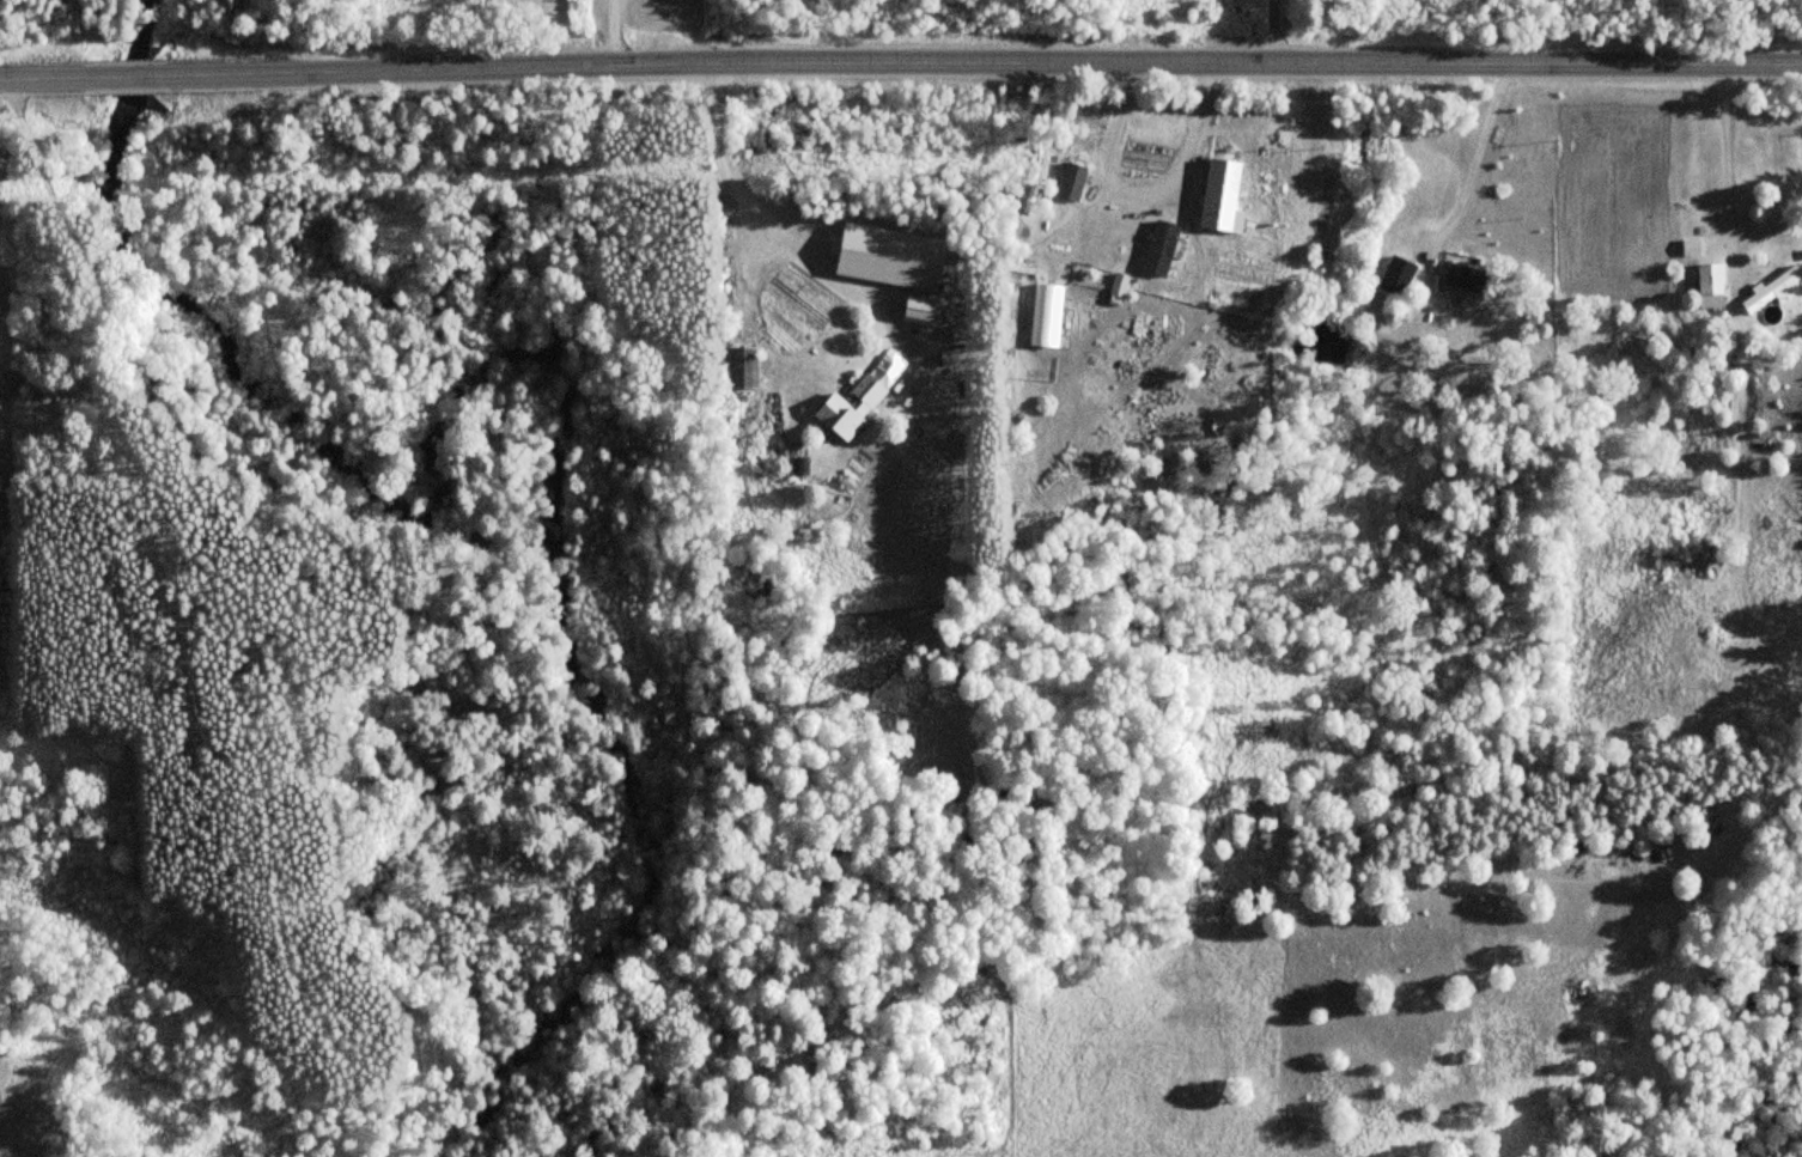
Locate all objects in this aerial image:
road: (978, 60)
road: (128, 78)
road: (50, 79)
building: (1071, 182)
building: (1115, 231)
building: (1394, 275)
building: (1465, 278)
building: (1711, 285)
building: (1774, 290)
river: (526, 366)
building: (742, 367)
building: (850, 408)
building: (479, 547)
building: (1711, 570)

